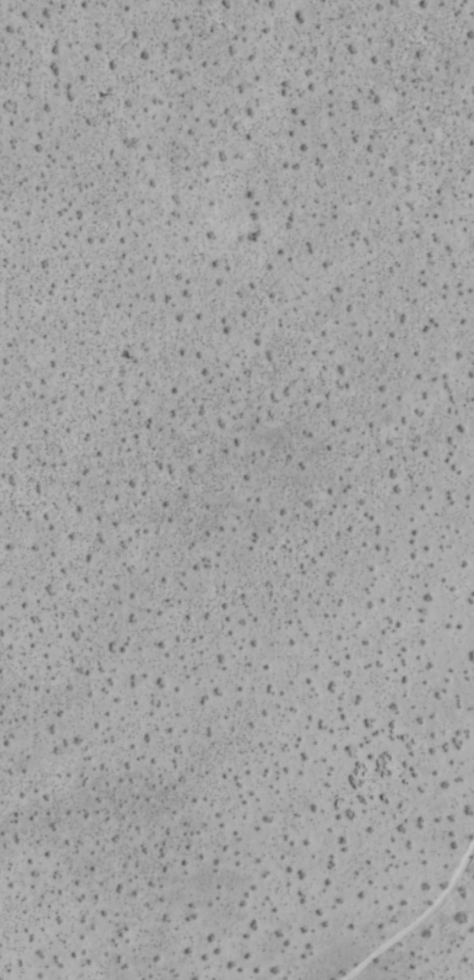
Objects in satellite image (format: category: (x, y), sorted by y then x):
road: (418, 918)

